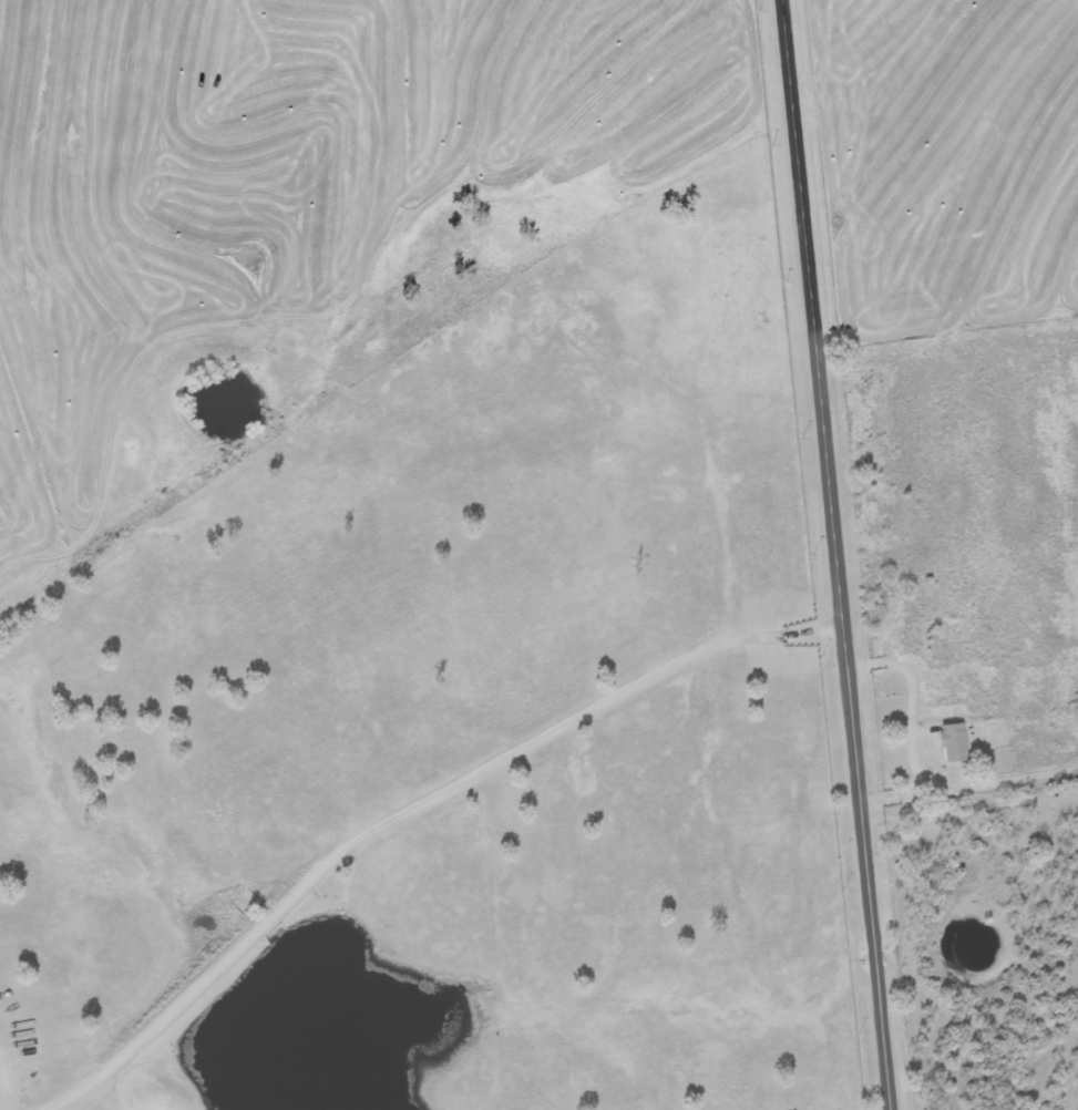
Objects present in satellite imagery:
road: (834, 555)
building: (952, 743)
road: (968, 785)
building: (243, 903)

